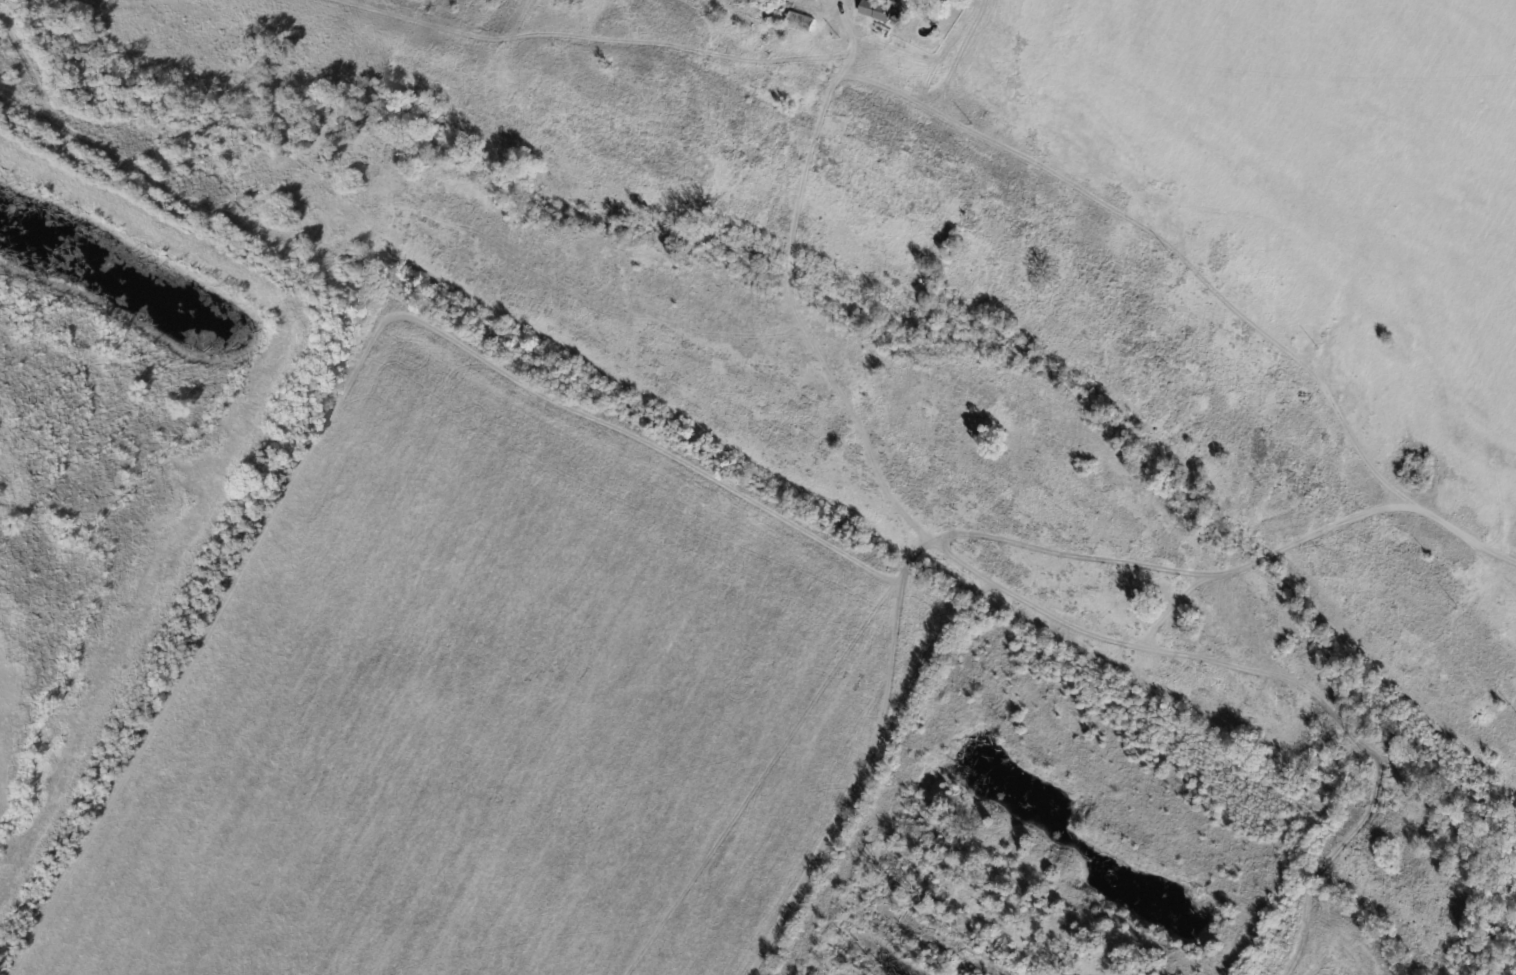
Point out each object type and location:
building: (920, 5)
building: (878, 11)
crop: (994, 22)
building: (802, 24)
road: (850, 38)
crop: (1329, 166)

